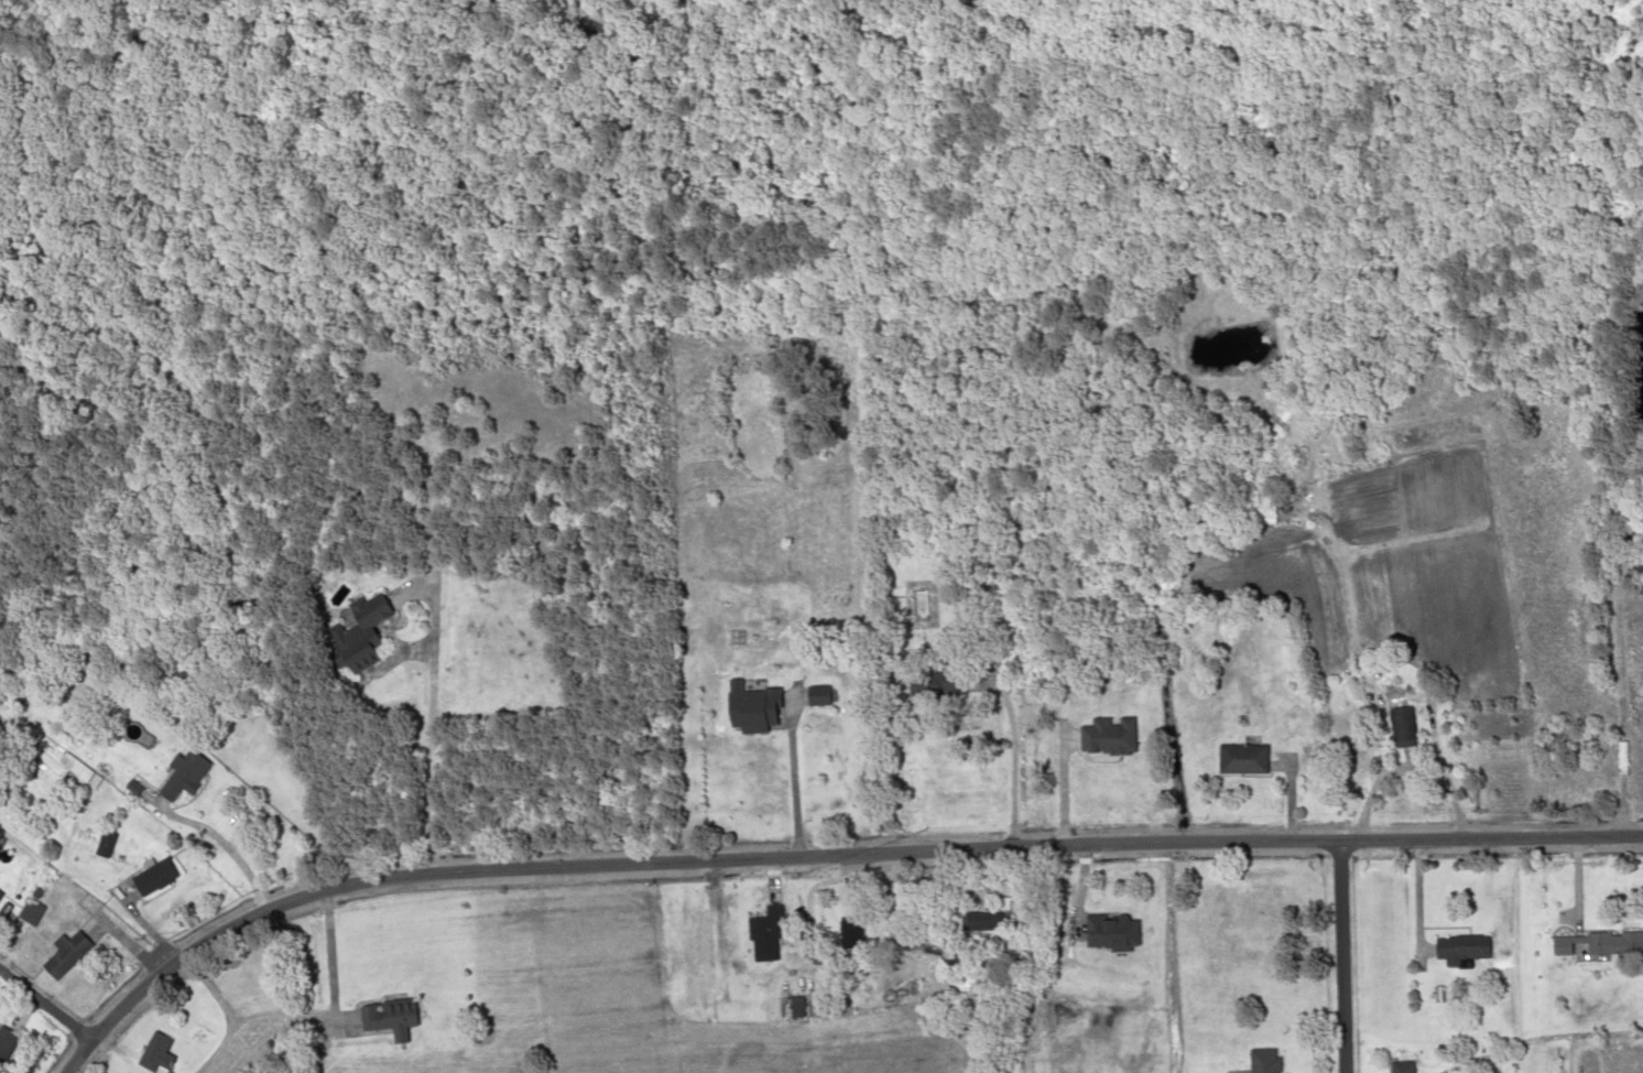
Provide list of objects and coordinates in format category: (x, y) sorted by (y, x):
building: (1640, 564)
building: (362, 619)
building: (358, 653)
building: (815, 696)
building: (751, 705)
building: (1401, 724)
building: (1106, 733)
building: (1240, 757)
building: (74, 767)
building: (179, 777)
road: (819, 855)
building: (154, 876)
building: (0, 893)
building: (894, 898)
building: (30, 909)
building: (984, 918)
building: (763, 925)
building: (1109, 929)
building: (846, 931)
building: (1597, 945)
building: (1459, 951)
building: (65, 955)
road: (1339, 957)
building: (795, 1001)
road: (44, 1007)
building: (387, 1015)
building: (6, 1043)
building: (156, 1052)
building: (1260, 1062)
building: (1401, 1069)

